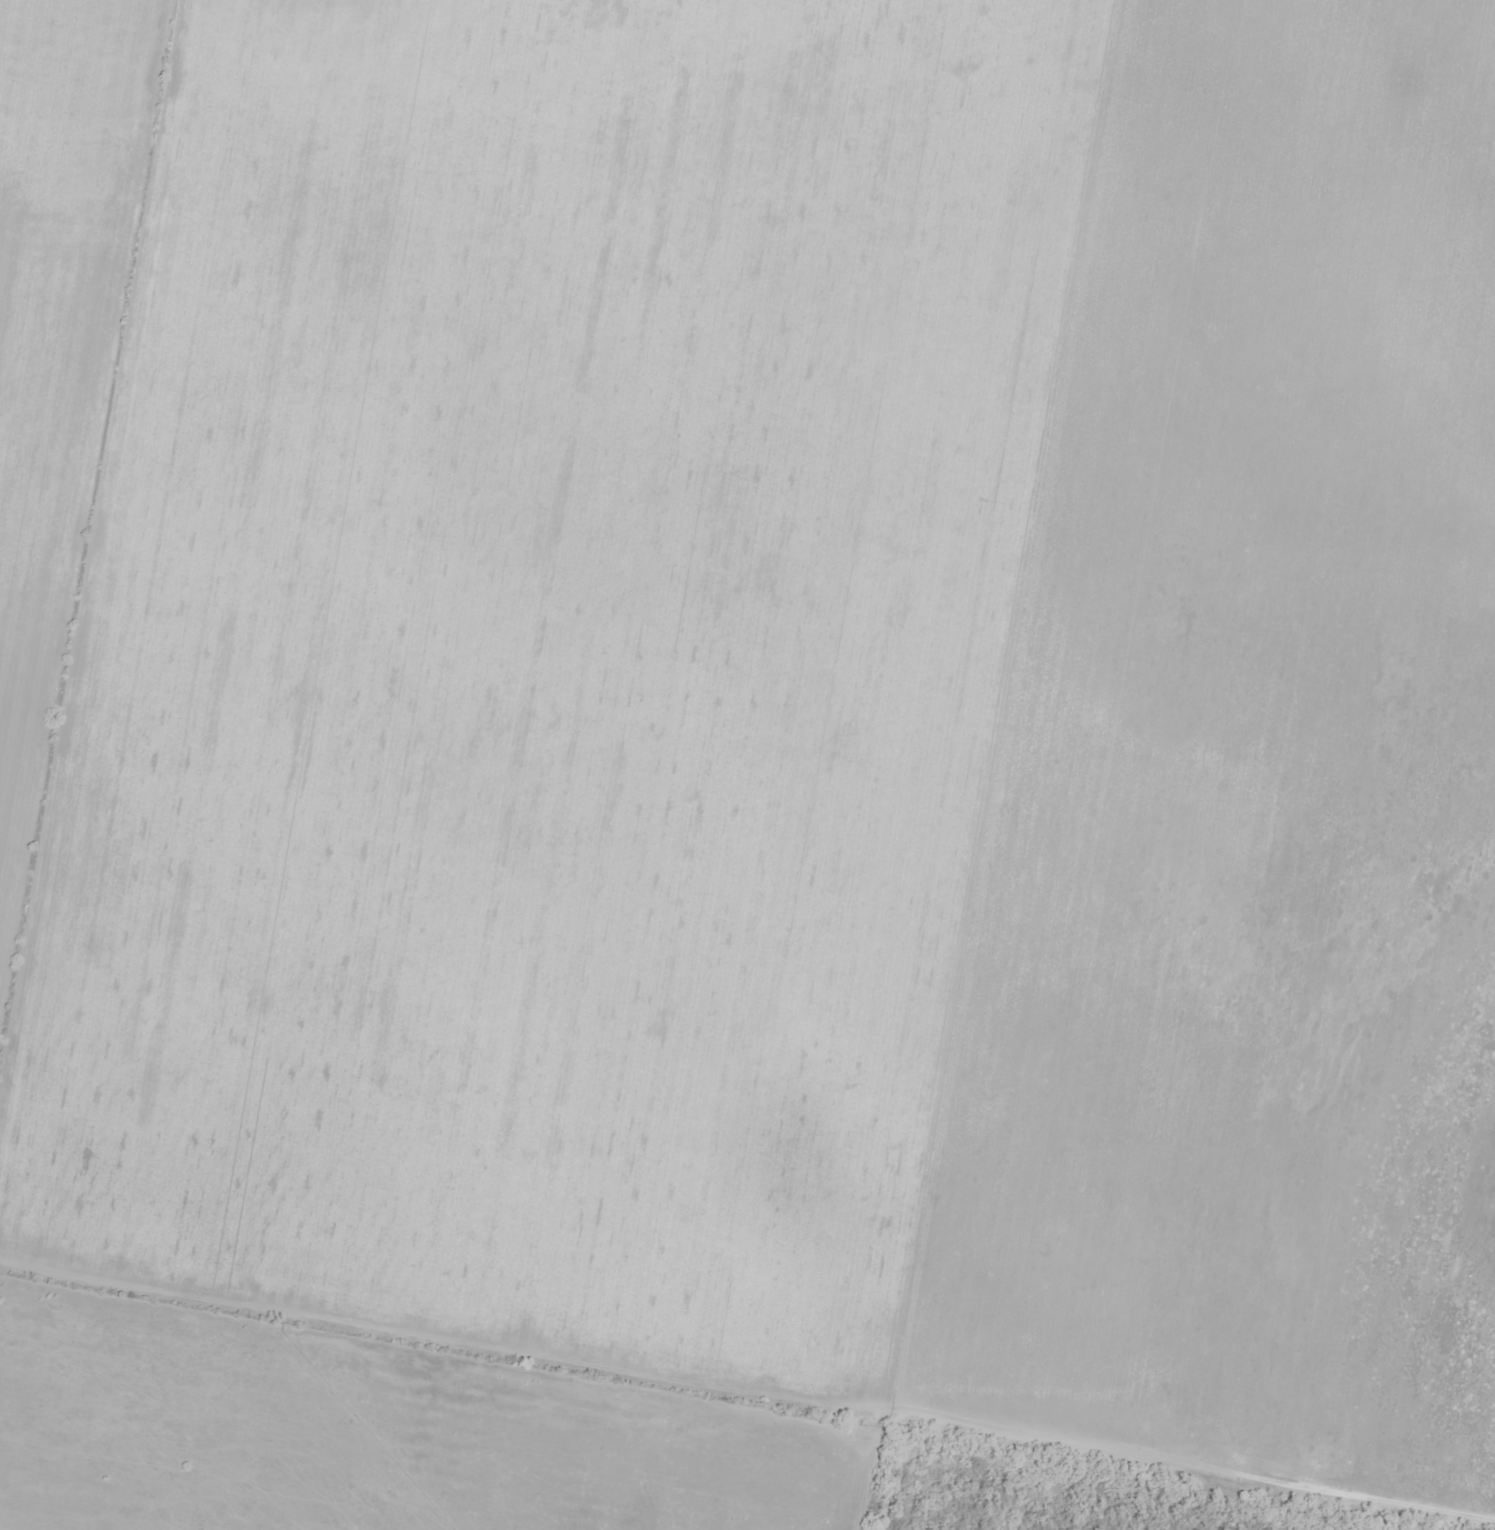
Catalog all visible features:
road: (1366, 544)
road: (1249, 584)
building: (1119, 1184)

